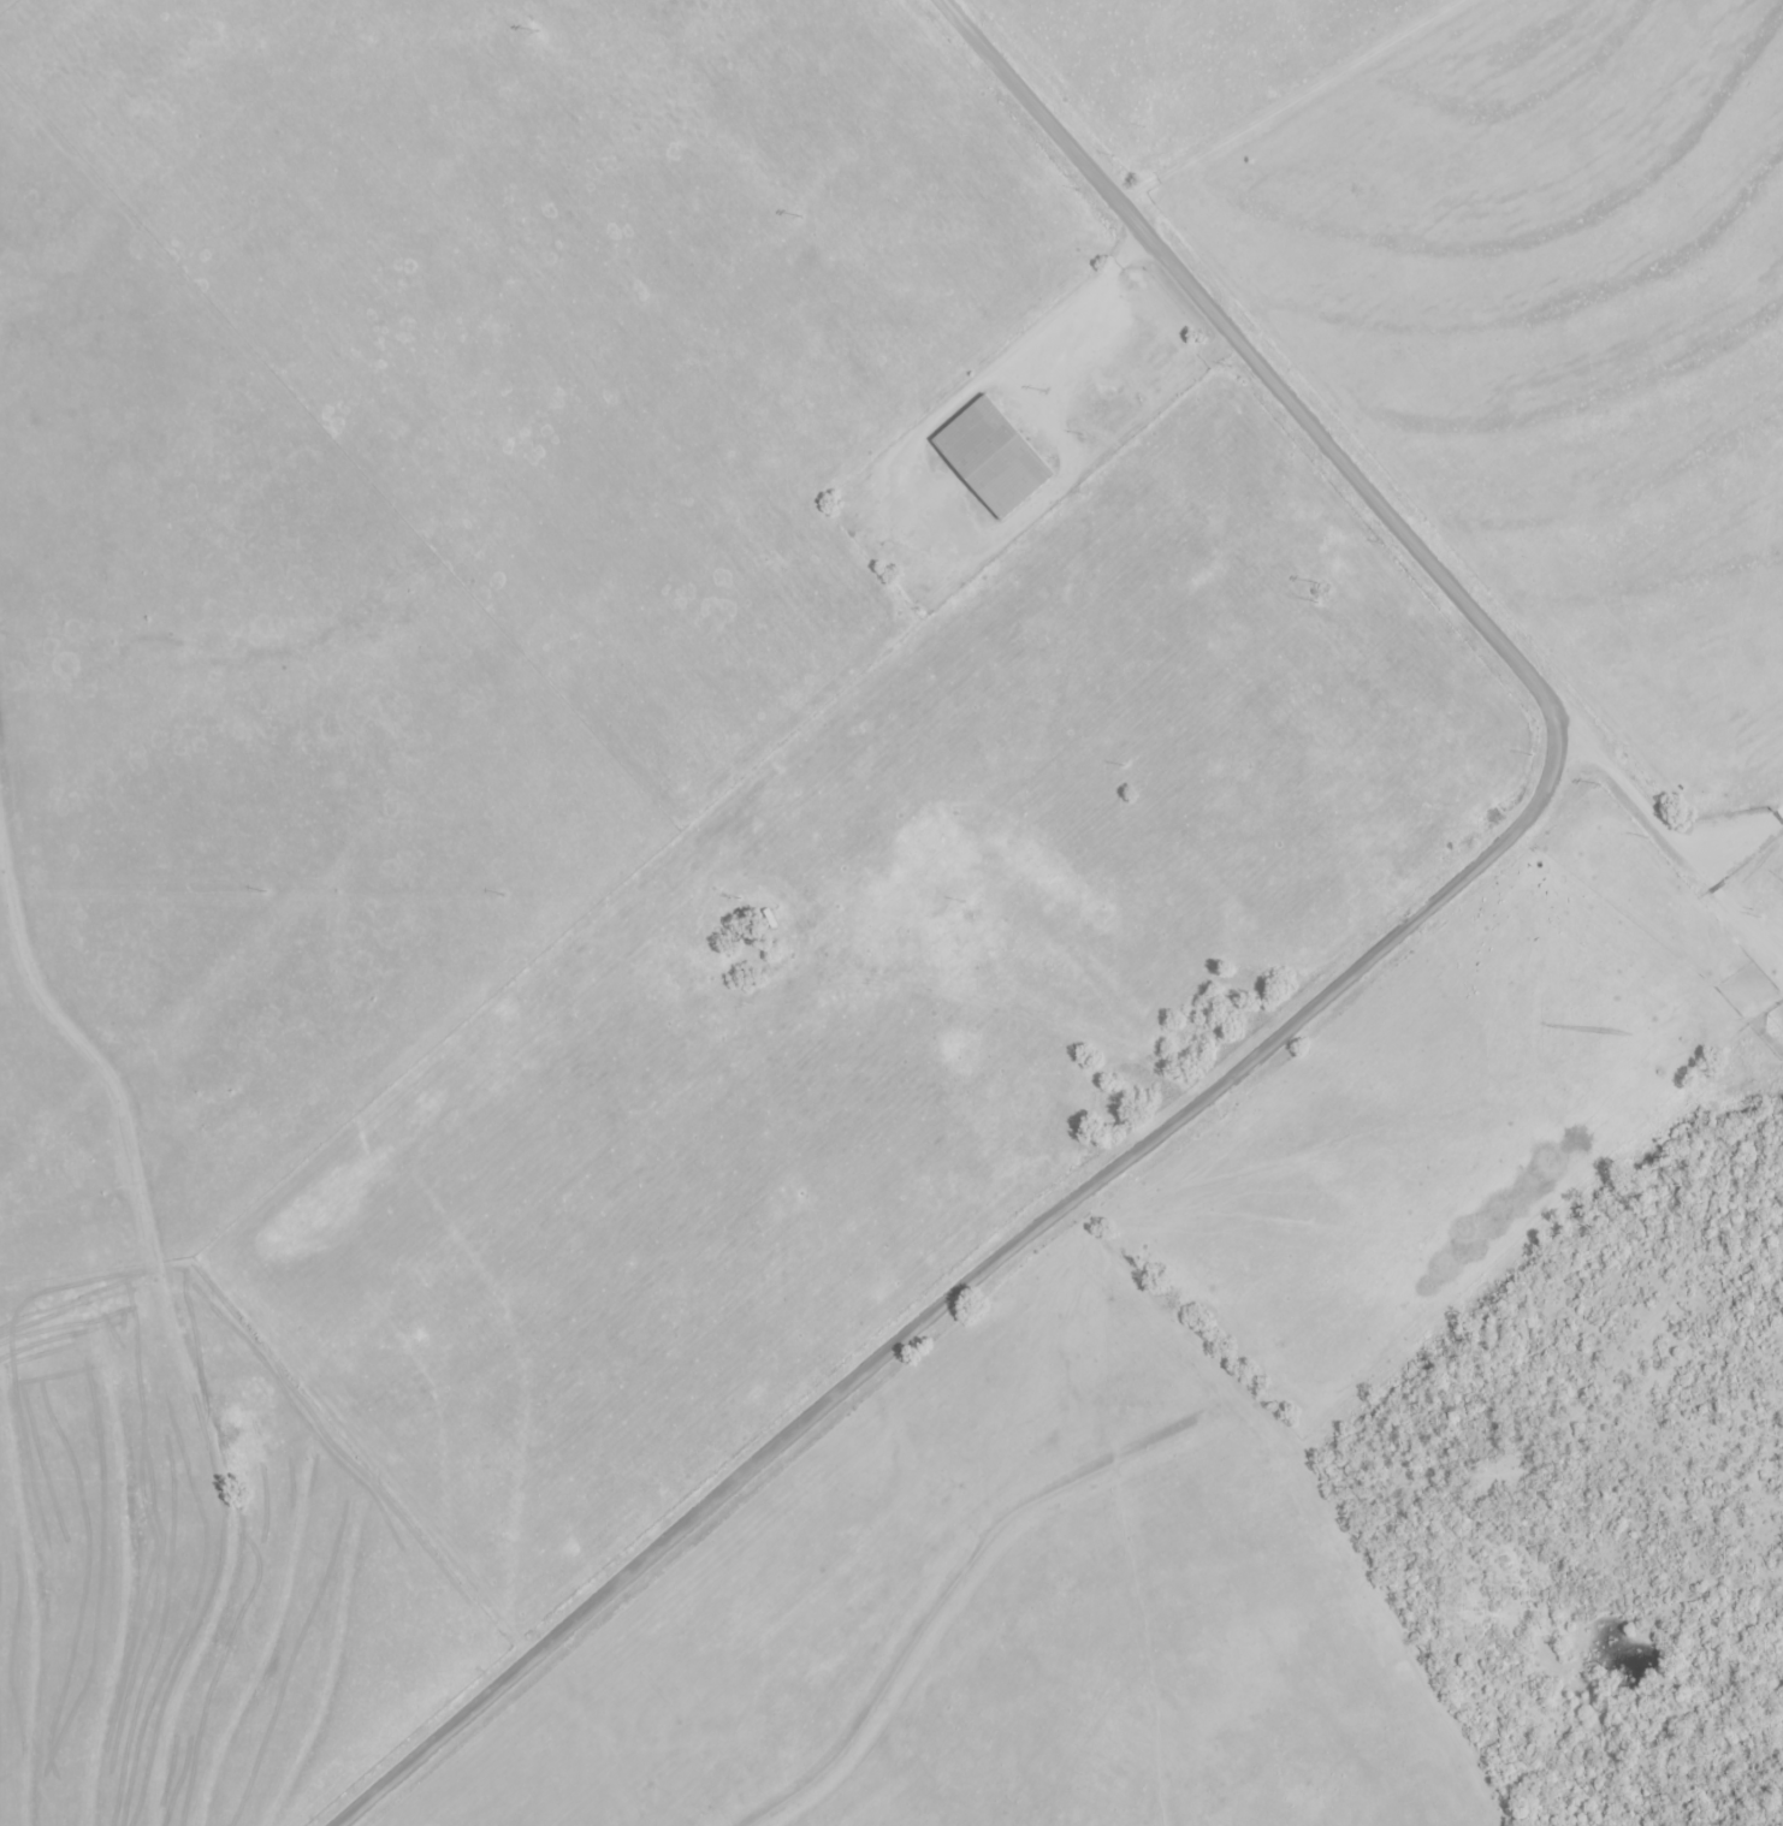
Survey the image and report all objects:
power tower: (540, 32)
power tower: (801, 218)
road: (997, 370)
building: (1151, 374)
power tower: (1047, 391)
building: (993, 458)
power tower: (1316, 583)
power tower: (1600, 784)
road: (1677, 819)
road: (1723, 884)
road: (966, 919)
road: (1341, 978)
road: (1157, 1063)

